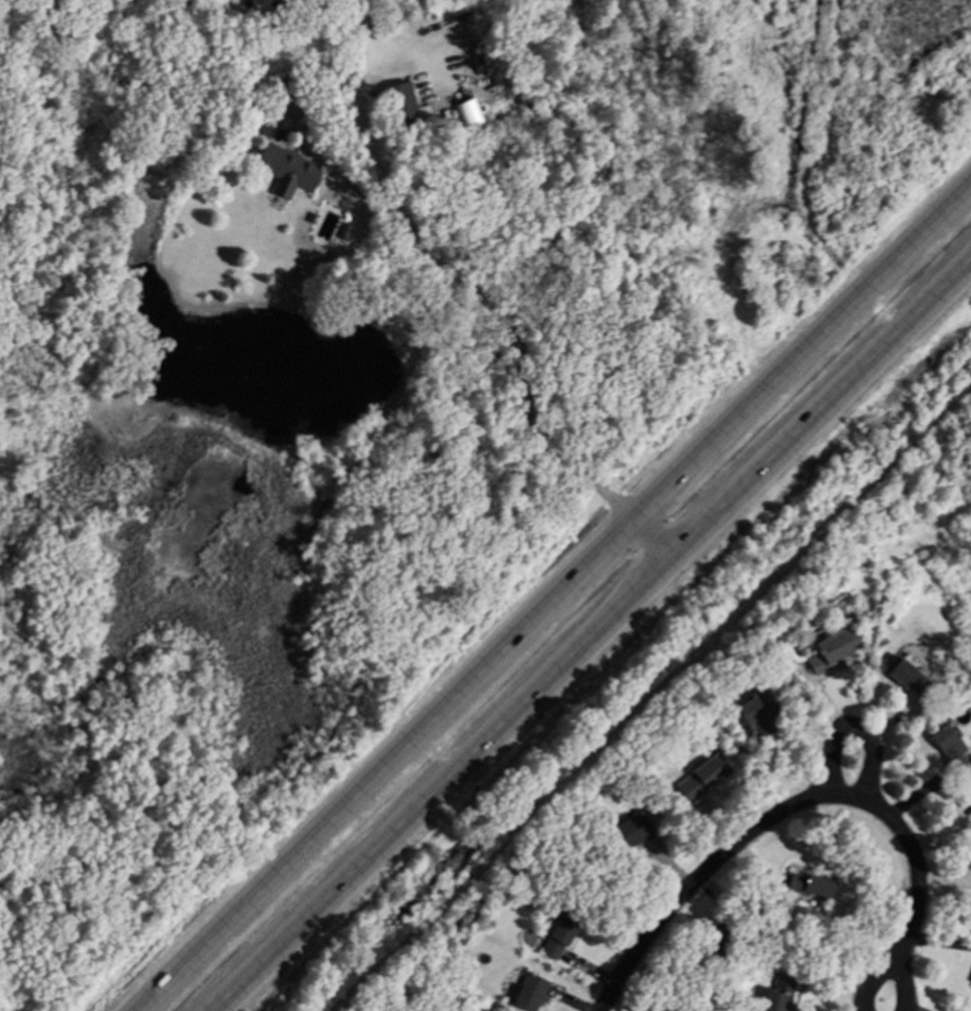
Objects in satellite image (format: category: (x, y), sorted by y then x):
building: (404, 108)
building: (289, 174)
road: (661, 542)
road: (560, 604)
road: (594, 644)
building: (835, 652)
building: (912, 680)
road: (655, 698)
building: (762, 711)
building: (952, 750)
building: (705, 781)
road: (854, 784)
building: (629, 837)
road: (700, 875)
building: (813, 888)
road: (908, 894)
building: (561, 940)
building: (531, 994)
building: (779, 995)

